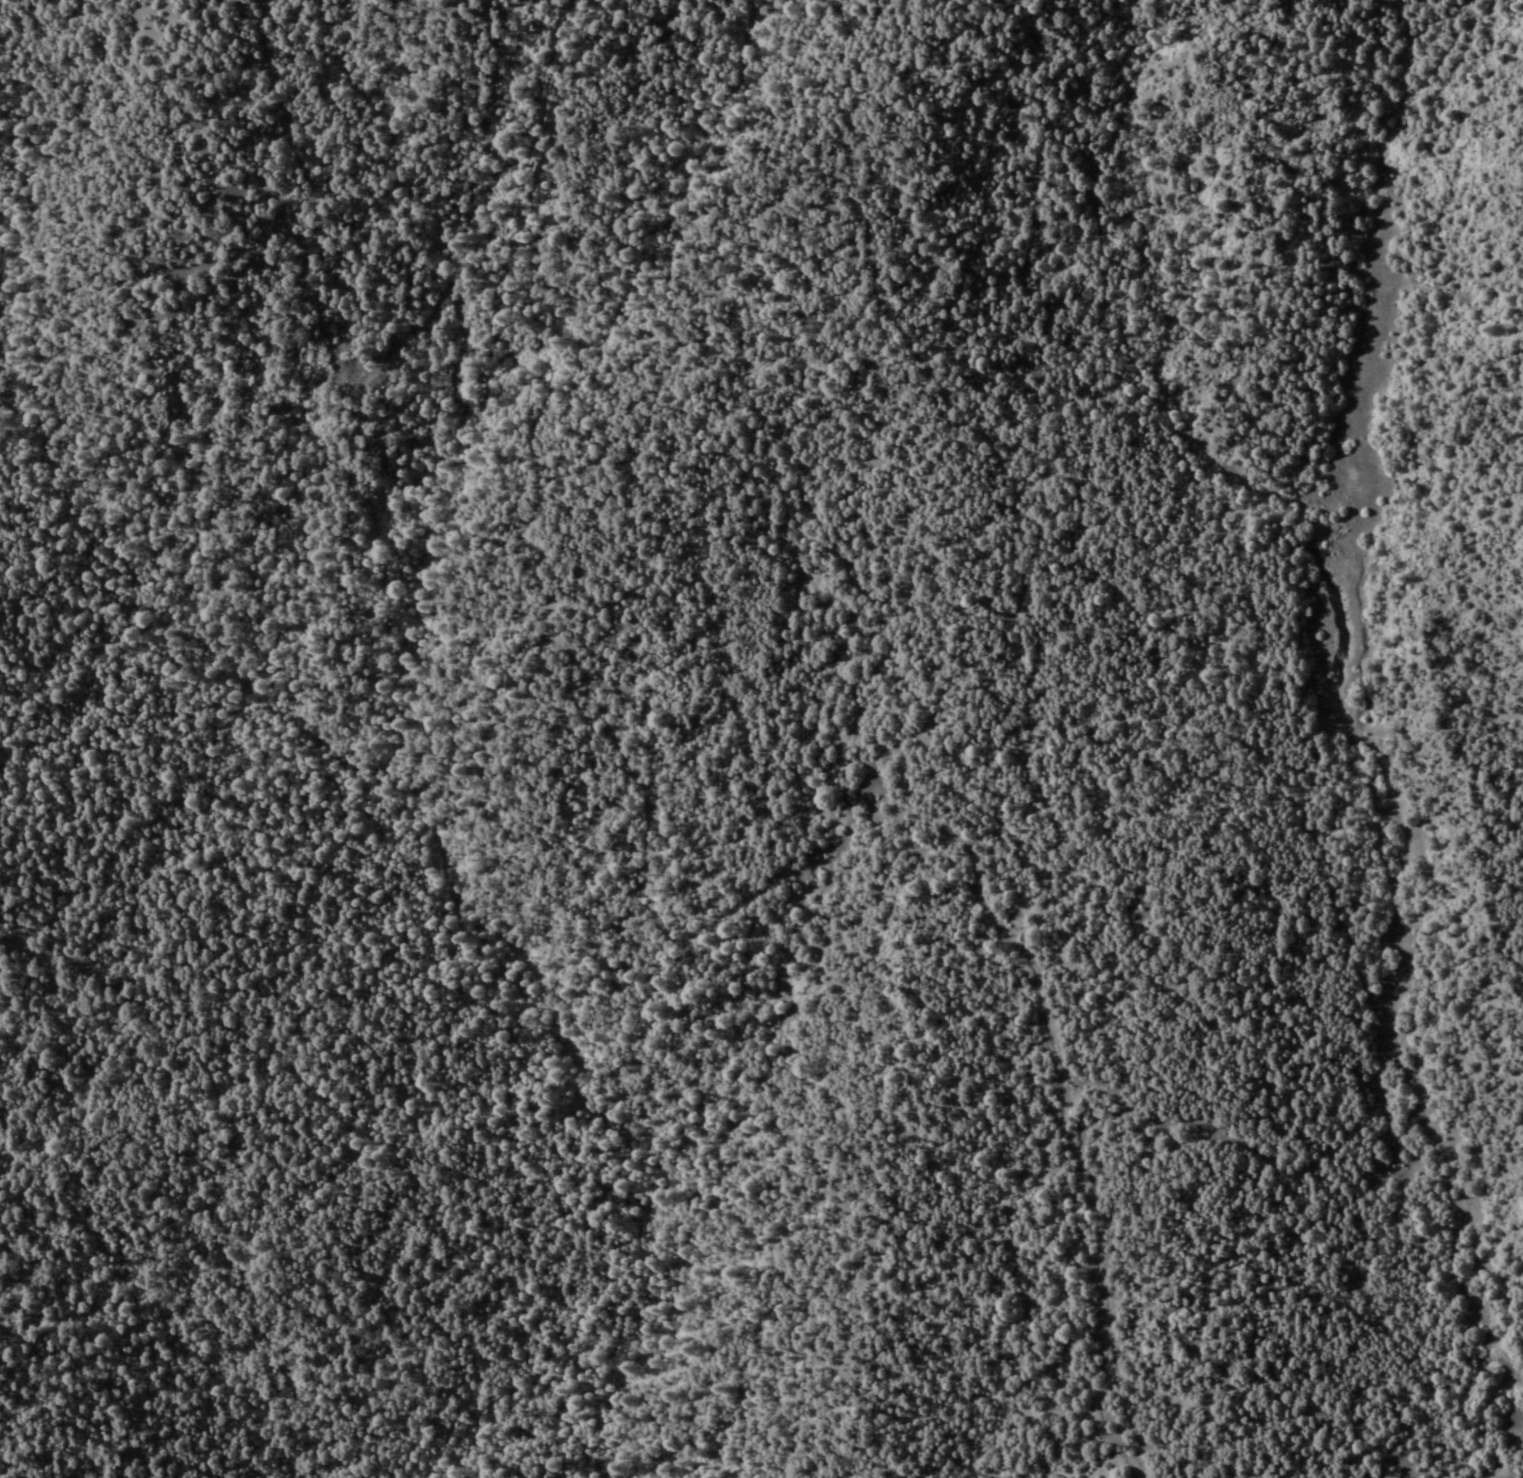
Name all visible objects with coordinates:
road: (626, 806)
road: (1226, 1143)

